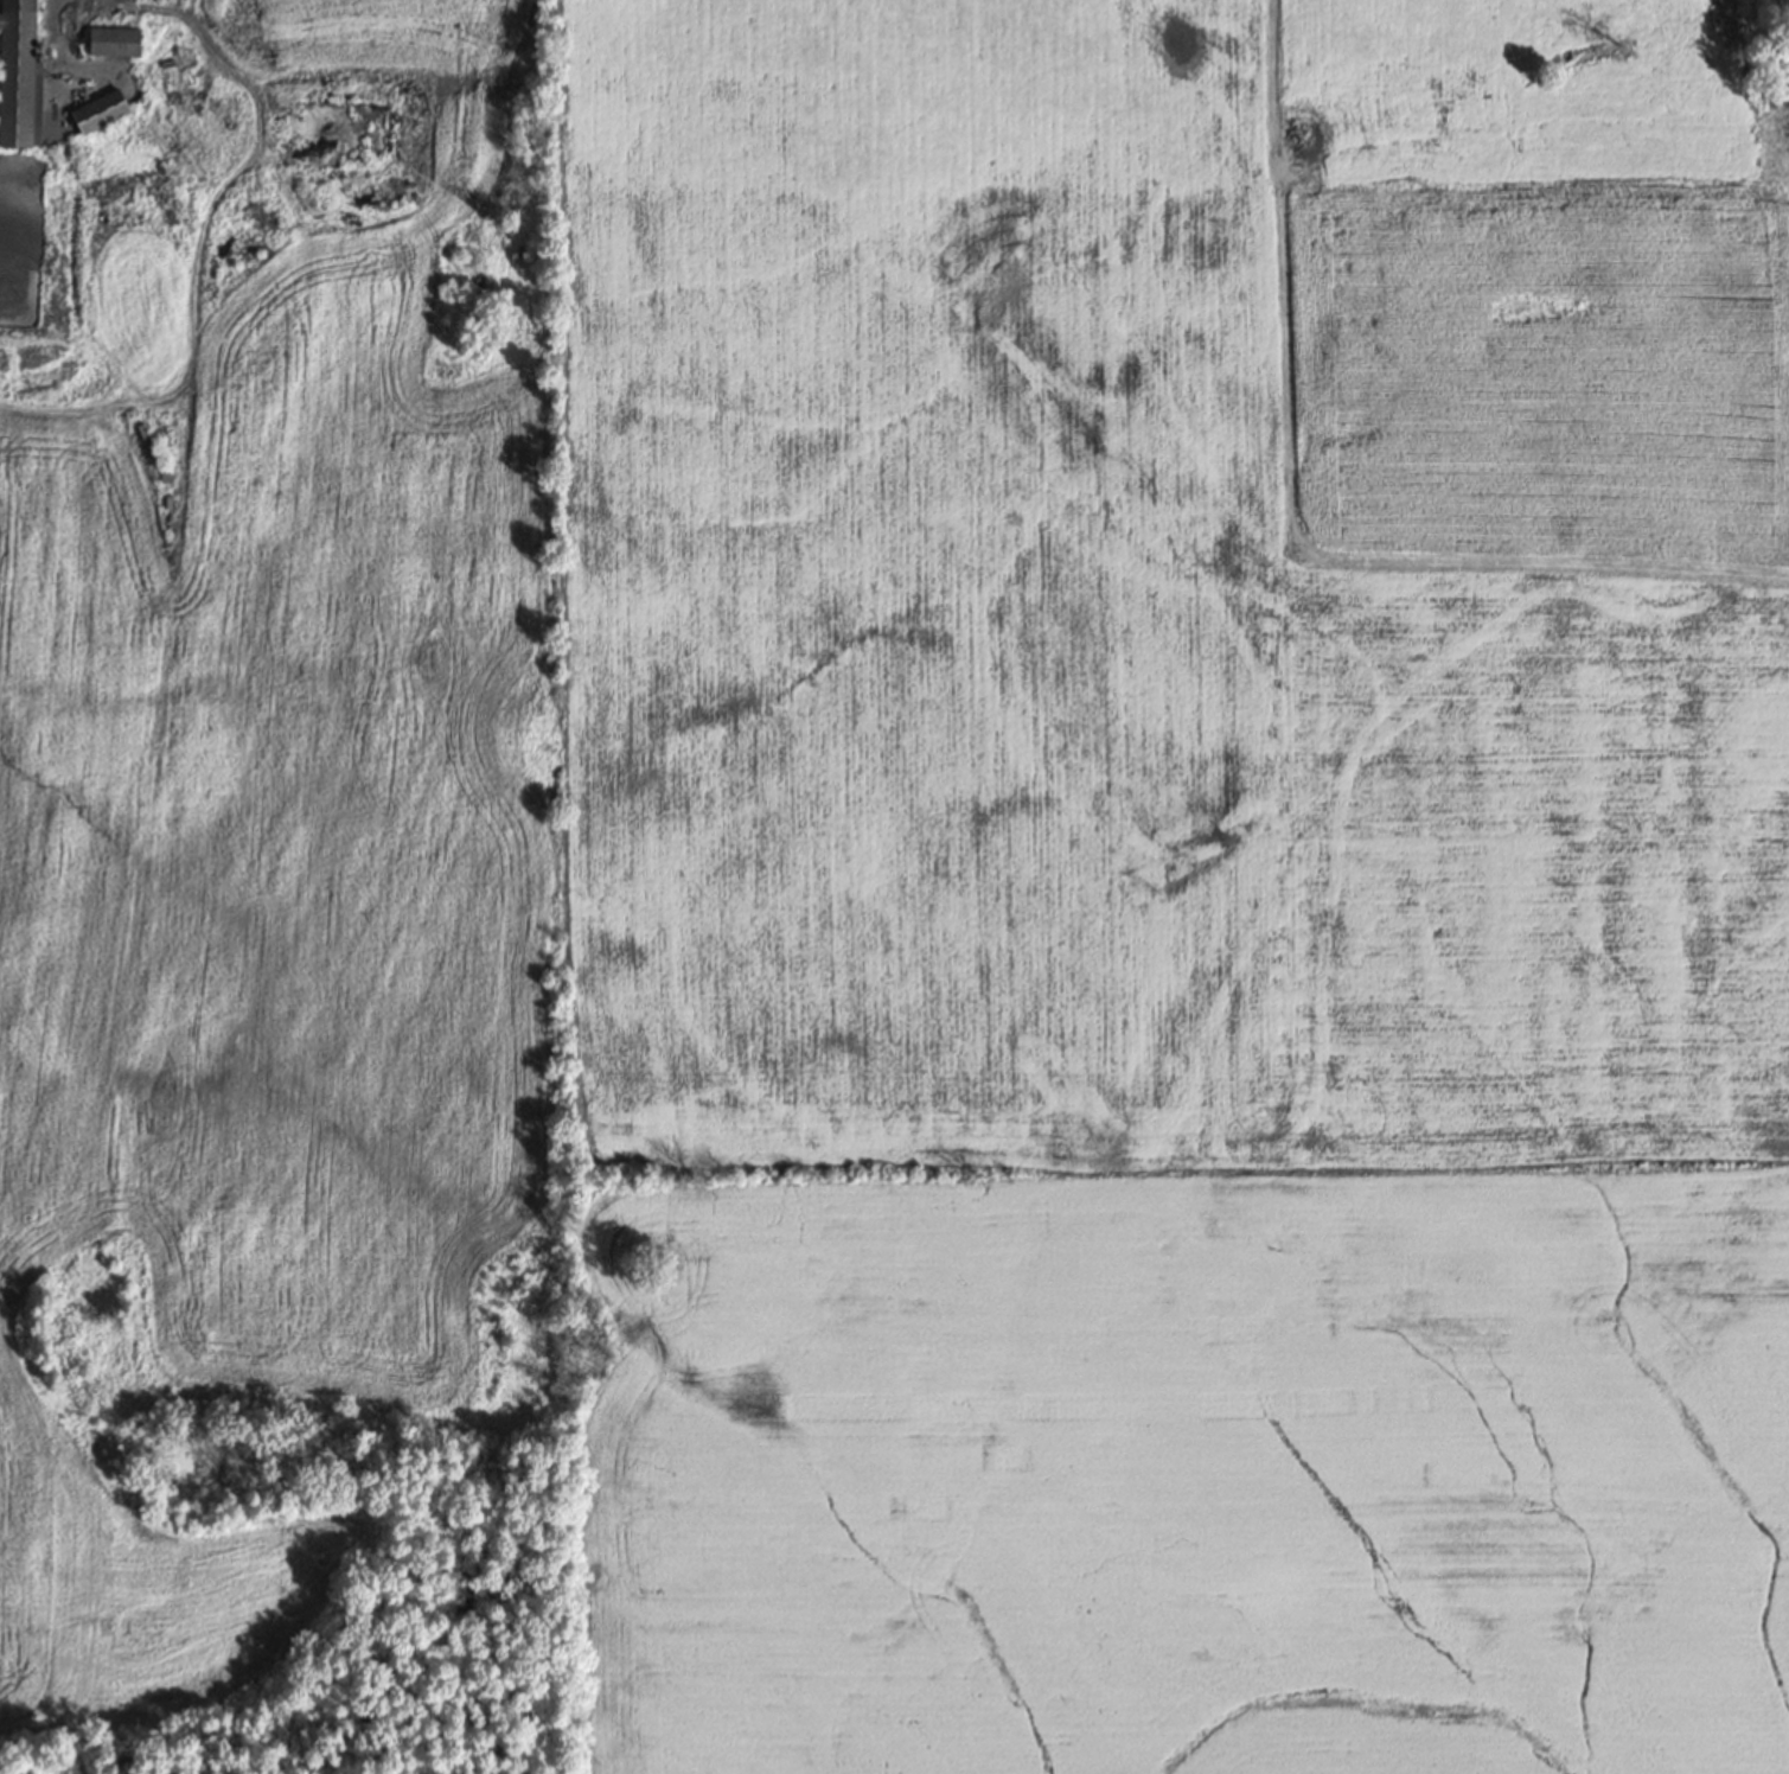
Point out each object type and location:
building: (113, 40)
building: (18, 75)
building: (243, 347)
building: (147, 441)

